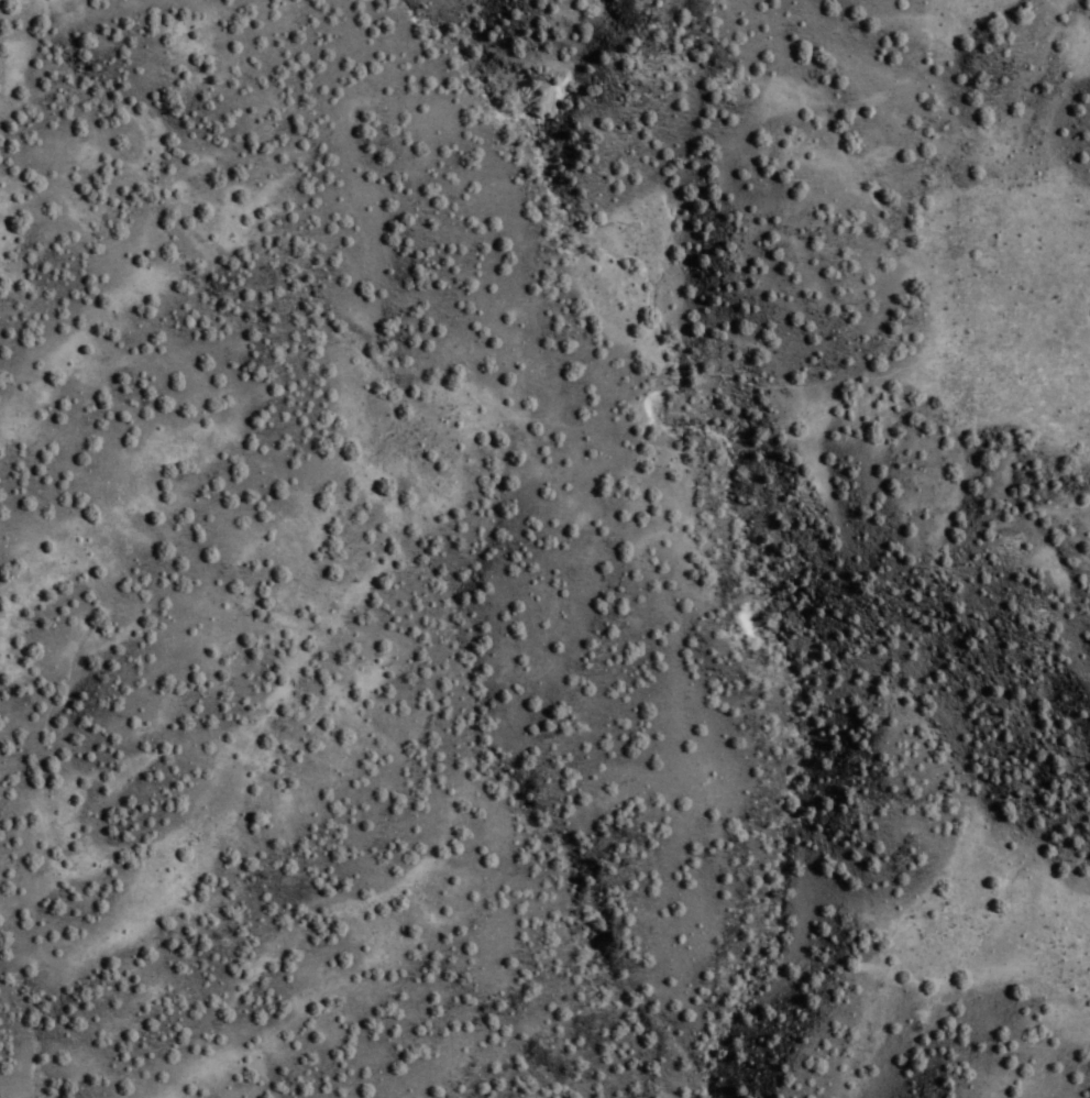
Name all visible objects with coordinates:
road: (428, 550)

